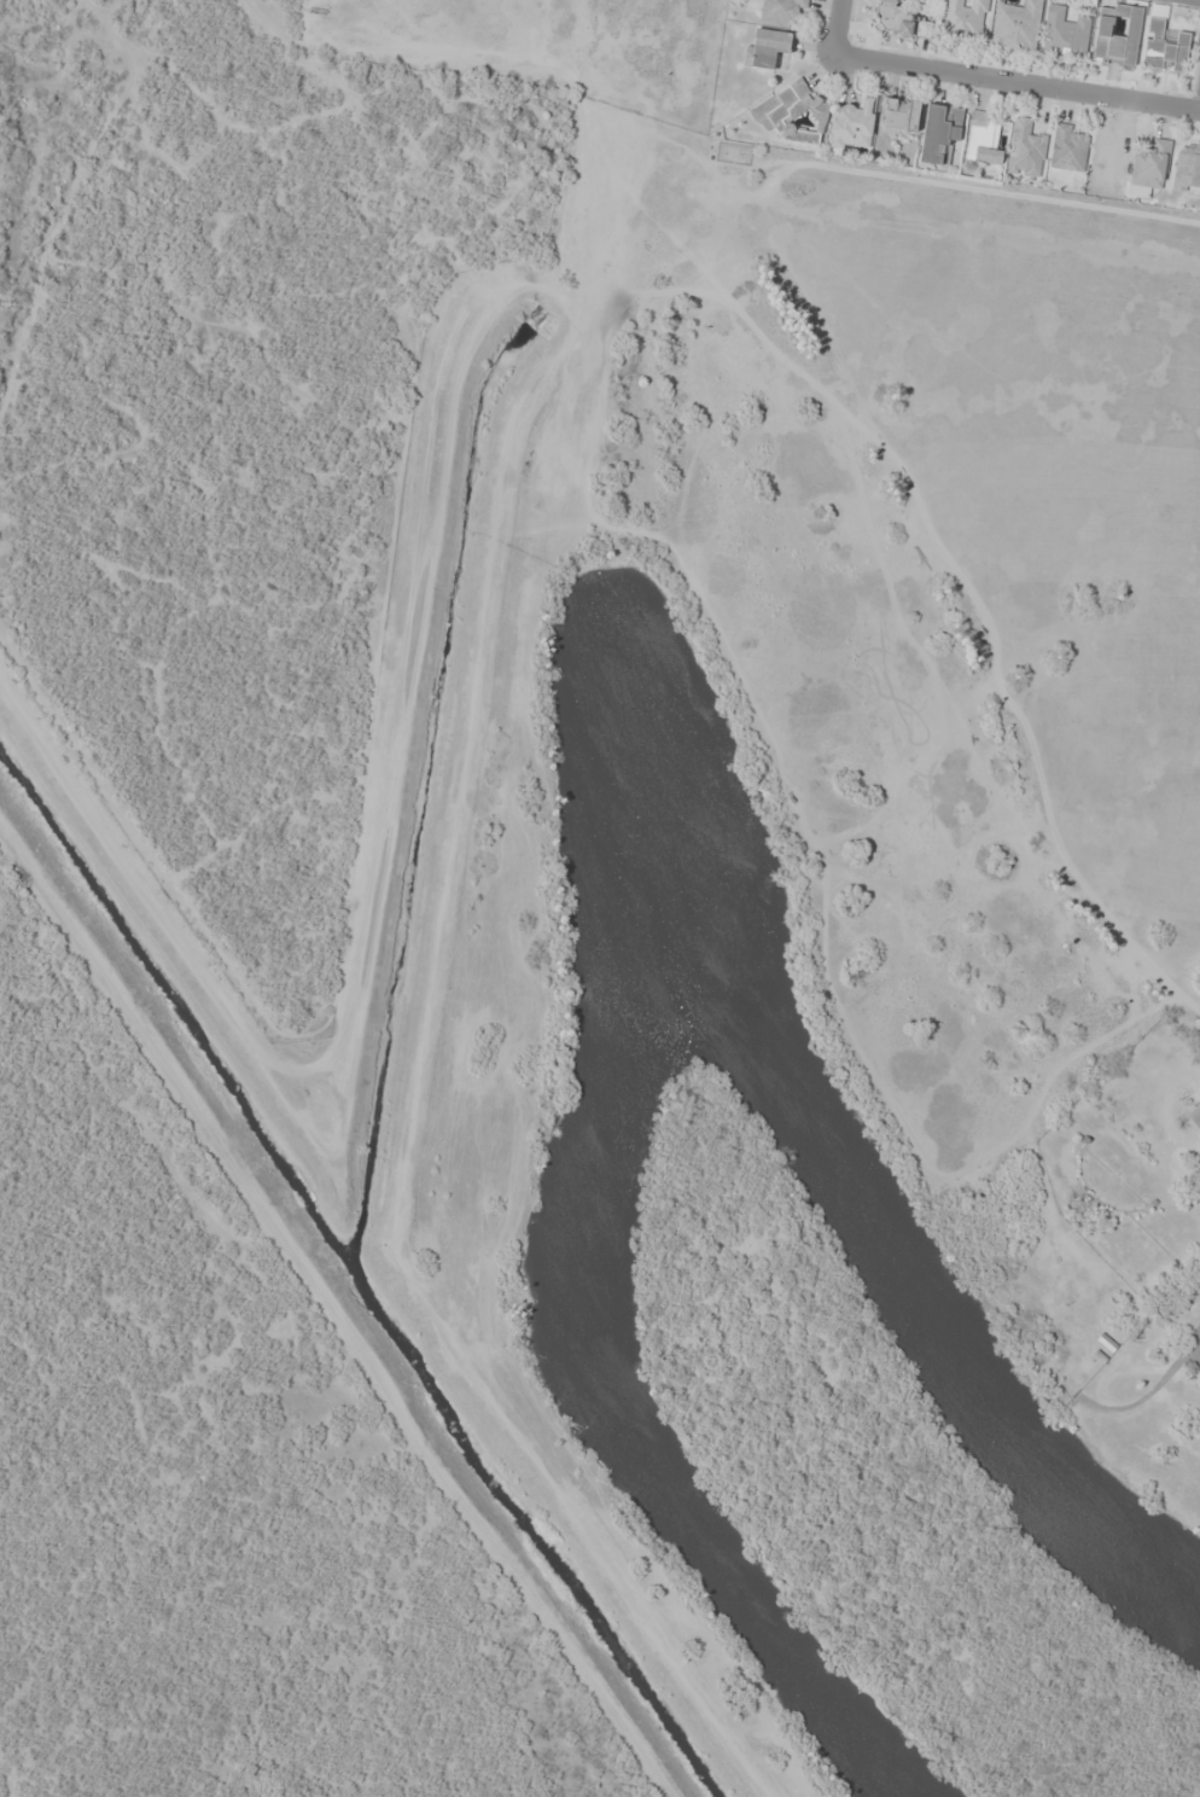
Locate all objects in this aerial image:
road: (1186, 1)
building: (781, 11)
building: (965, 18)
building: (898, 21)
building: (1016, 25)
road: (834, 28)
building: (1064, 34)
building: (1117, 35)
building: (768, 47)
building: (1164, 47)
road: (1014, 85)
road: (1199, 109)
building: (791, 114)
building: (898, 114)
building: (852, 124)
building: (939, 133)
building: (984, 138)
building: (1067, 149)
building: (1025, 150)
building: (1149, 165)
building: (1187, 168)
building: (1195, 1117)

